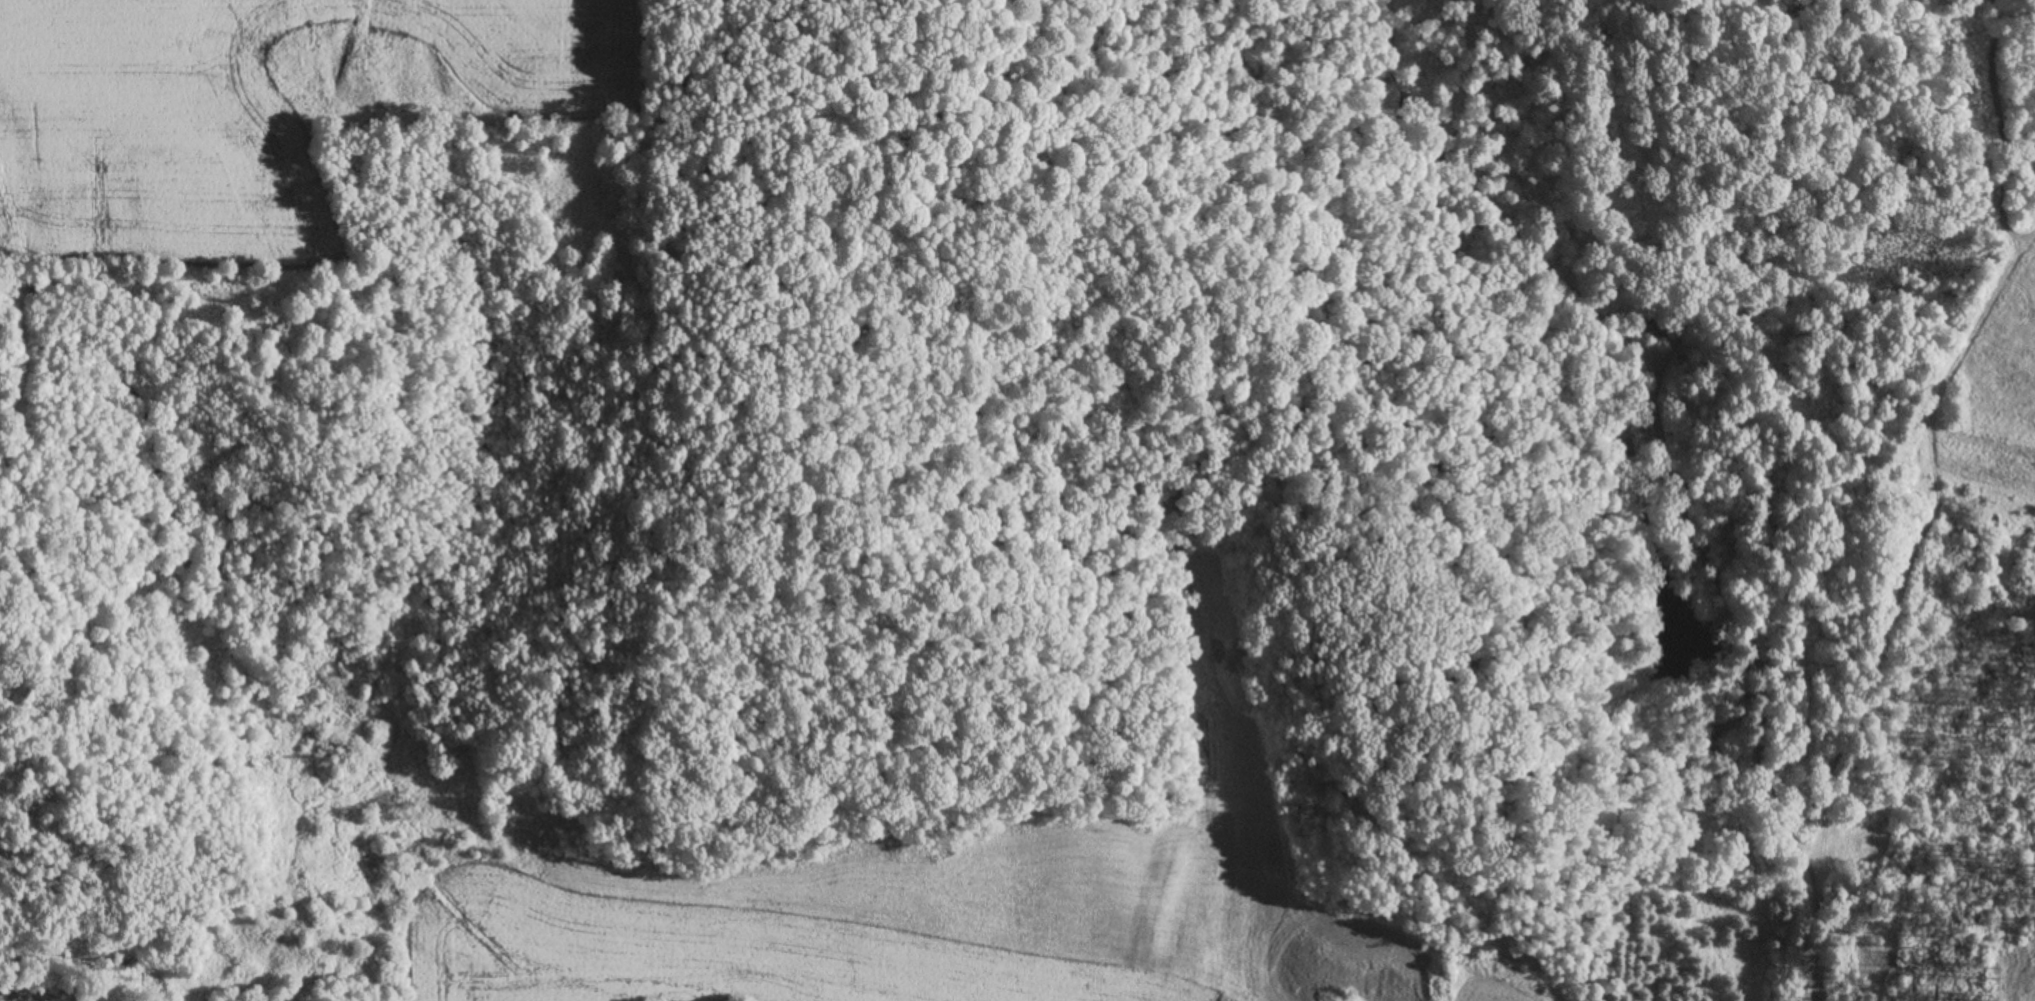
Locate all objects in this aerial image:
building: (1651, 327)

